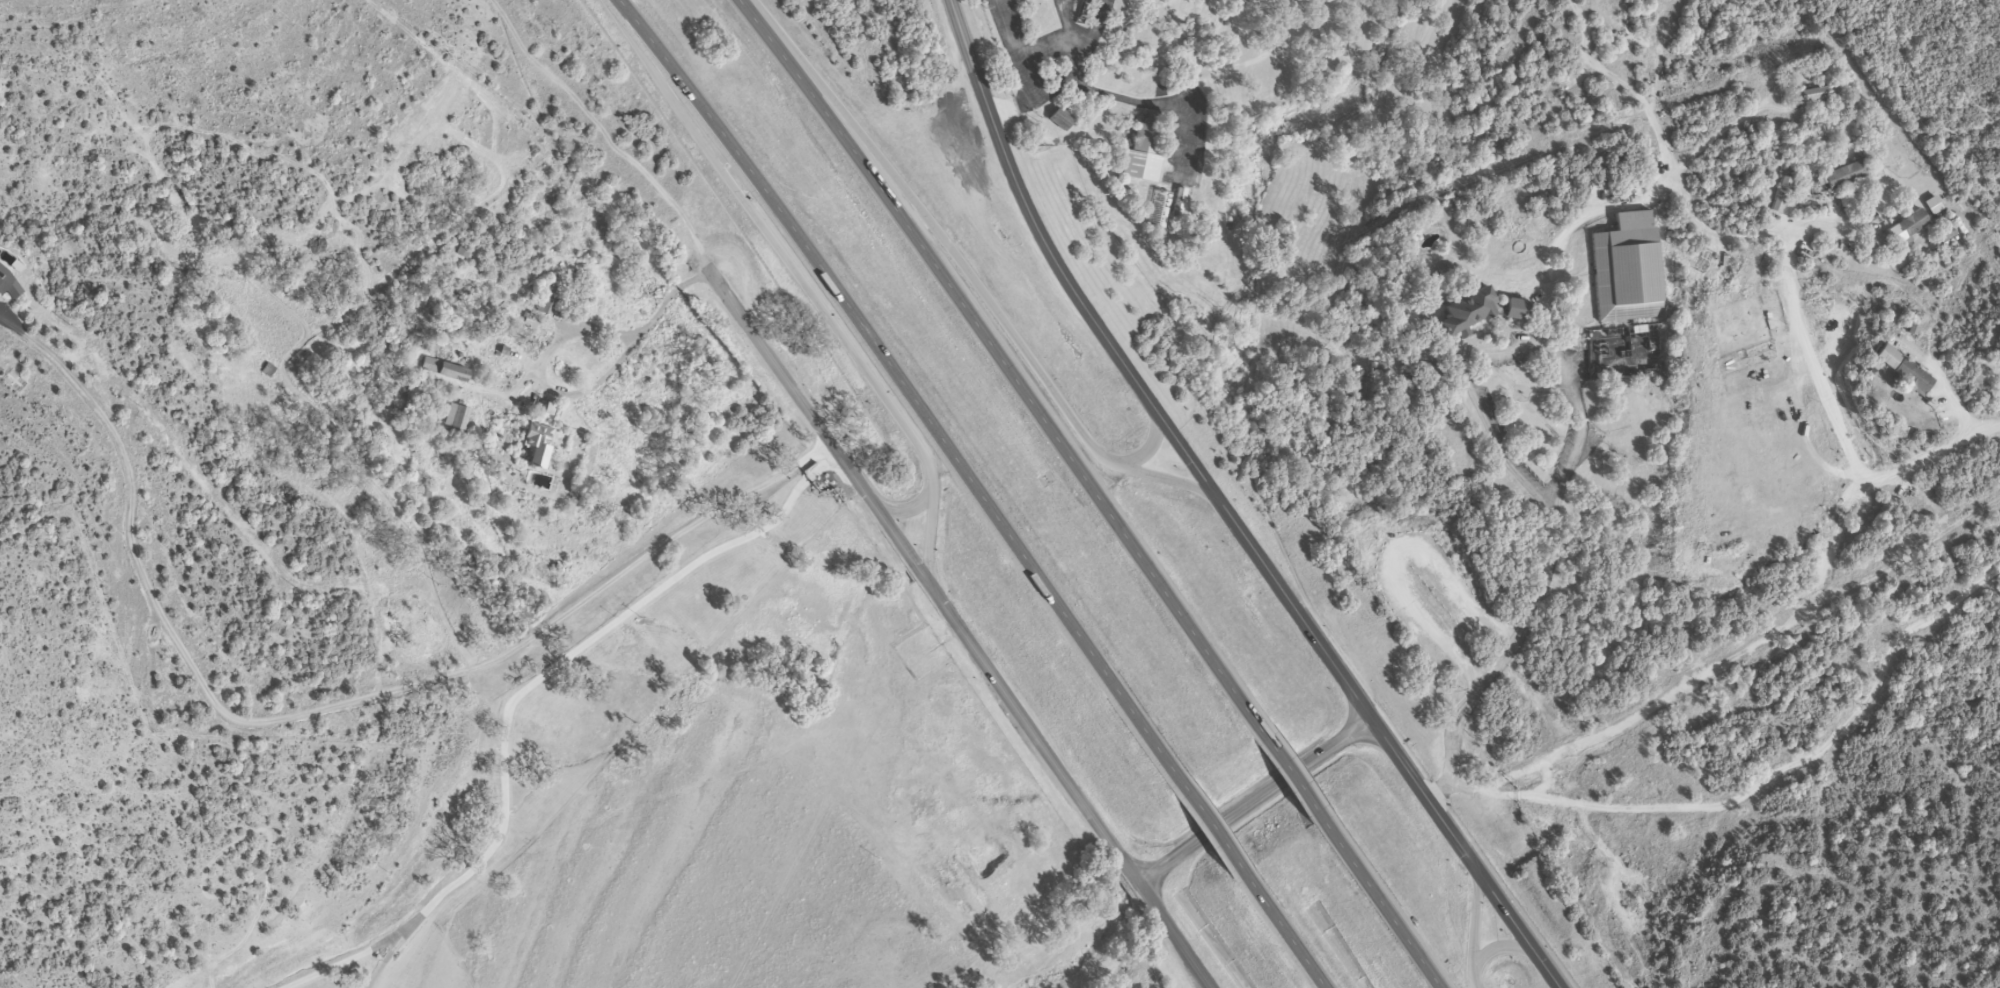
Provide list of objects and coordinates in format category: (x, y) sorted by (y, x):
road: (1323, 35)
road: (635, 40)
road: (1268, 54)
road: (1361, 71)
road: (1192, 90)
building: (1818, 95)
road: (1128, 97)
building: (1156, 114)
building: (1065, 119)
parking lot: (1190, 135)
building: (1147, 155)
building: (1845, 177)
building: (1163, 208)
building: (1908, 228)
building: (1628, 270)
road: (803, 283)
road: (979, 292)
building: (548, 297)
building: (1519, 311)
building: (1470, 314)
road: (1810, 361)
road: (1003, 362)
building: (446, 371)
building: (1904, 371)
road: (1129, 375)
road: (585, 396)
building: (547, 410)
building: (457, 420)
road: (816, 424)
road: (933, 428)
building: (540, 446)
road: (1150, 449)
road: (1863, 491)
road: (909, 511)
road: (930, 535)
road: (1549, 548)
road: (1716, 659)
road: (528, 700)
road: (327, 708)
road: (1034, 731)
road: (1293, 772)
road: (1424, 796)
road: (1255, 800)
road: (1213, 828)
road: (1385, 901)
road: (1283, 928)
road: (1473, 931)
road: (1520, 931)
road: (1172, 936)
road: (1497, 947)

